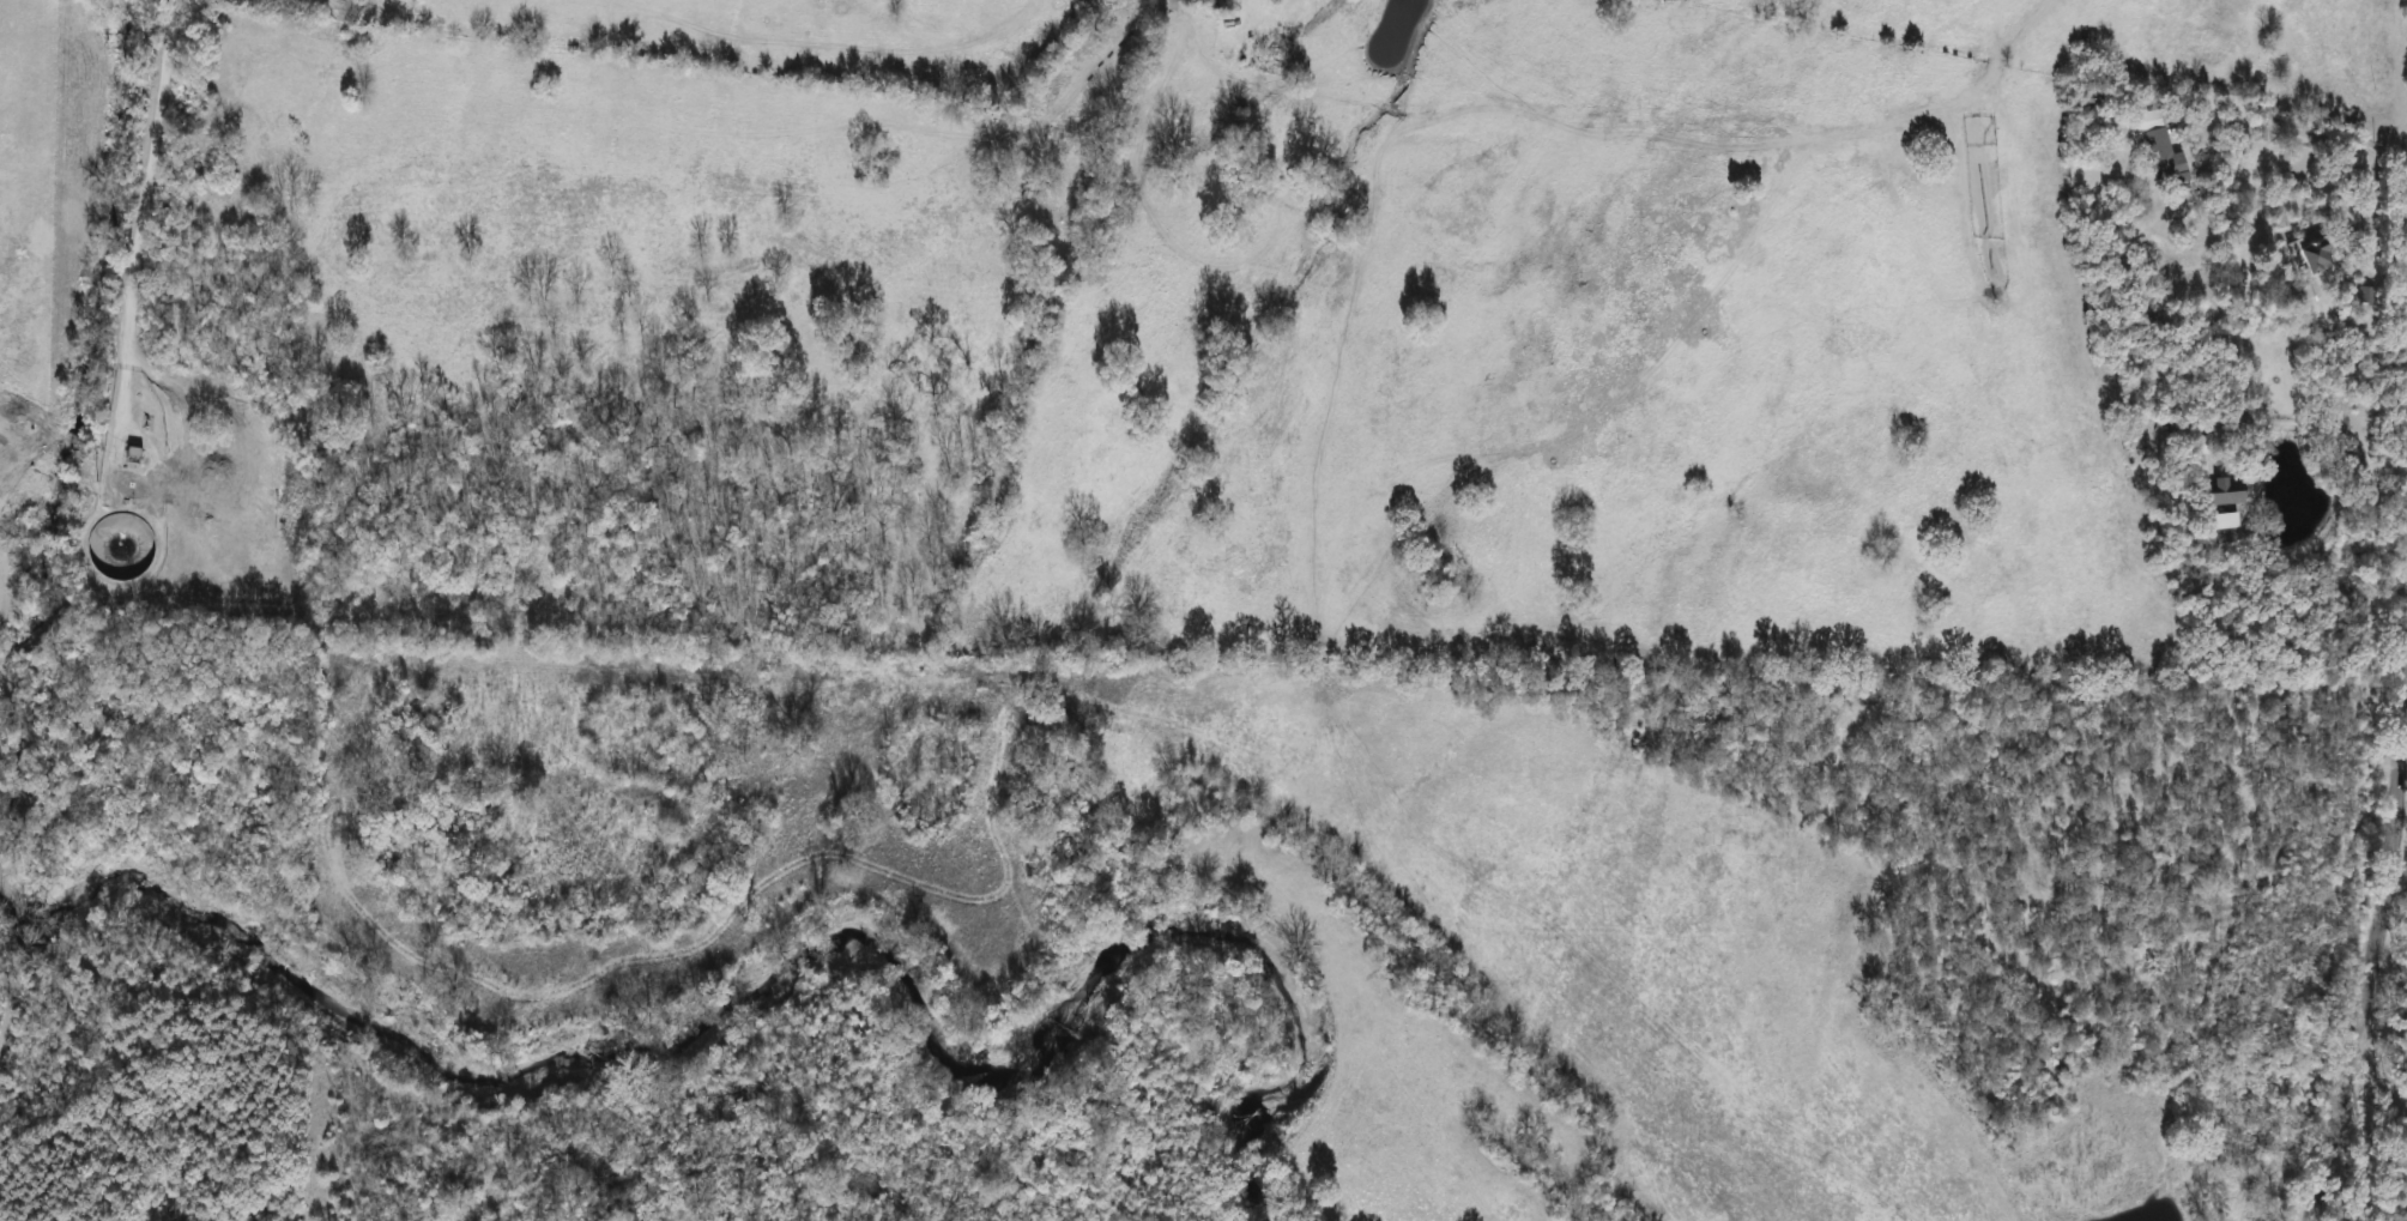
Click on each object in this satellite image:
road: (2311, 132)
building: (2157, 151)
road: (2367, 211)
road: (140, 212)
building: (2306, 258)
road: (2328, 422)
road: (139, 482)
building: (2221, 492)
building: (2227, 522)
road: (2375, 1030)

